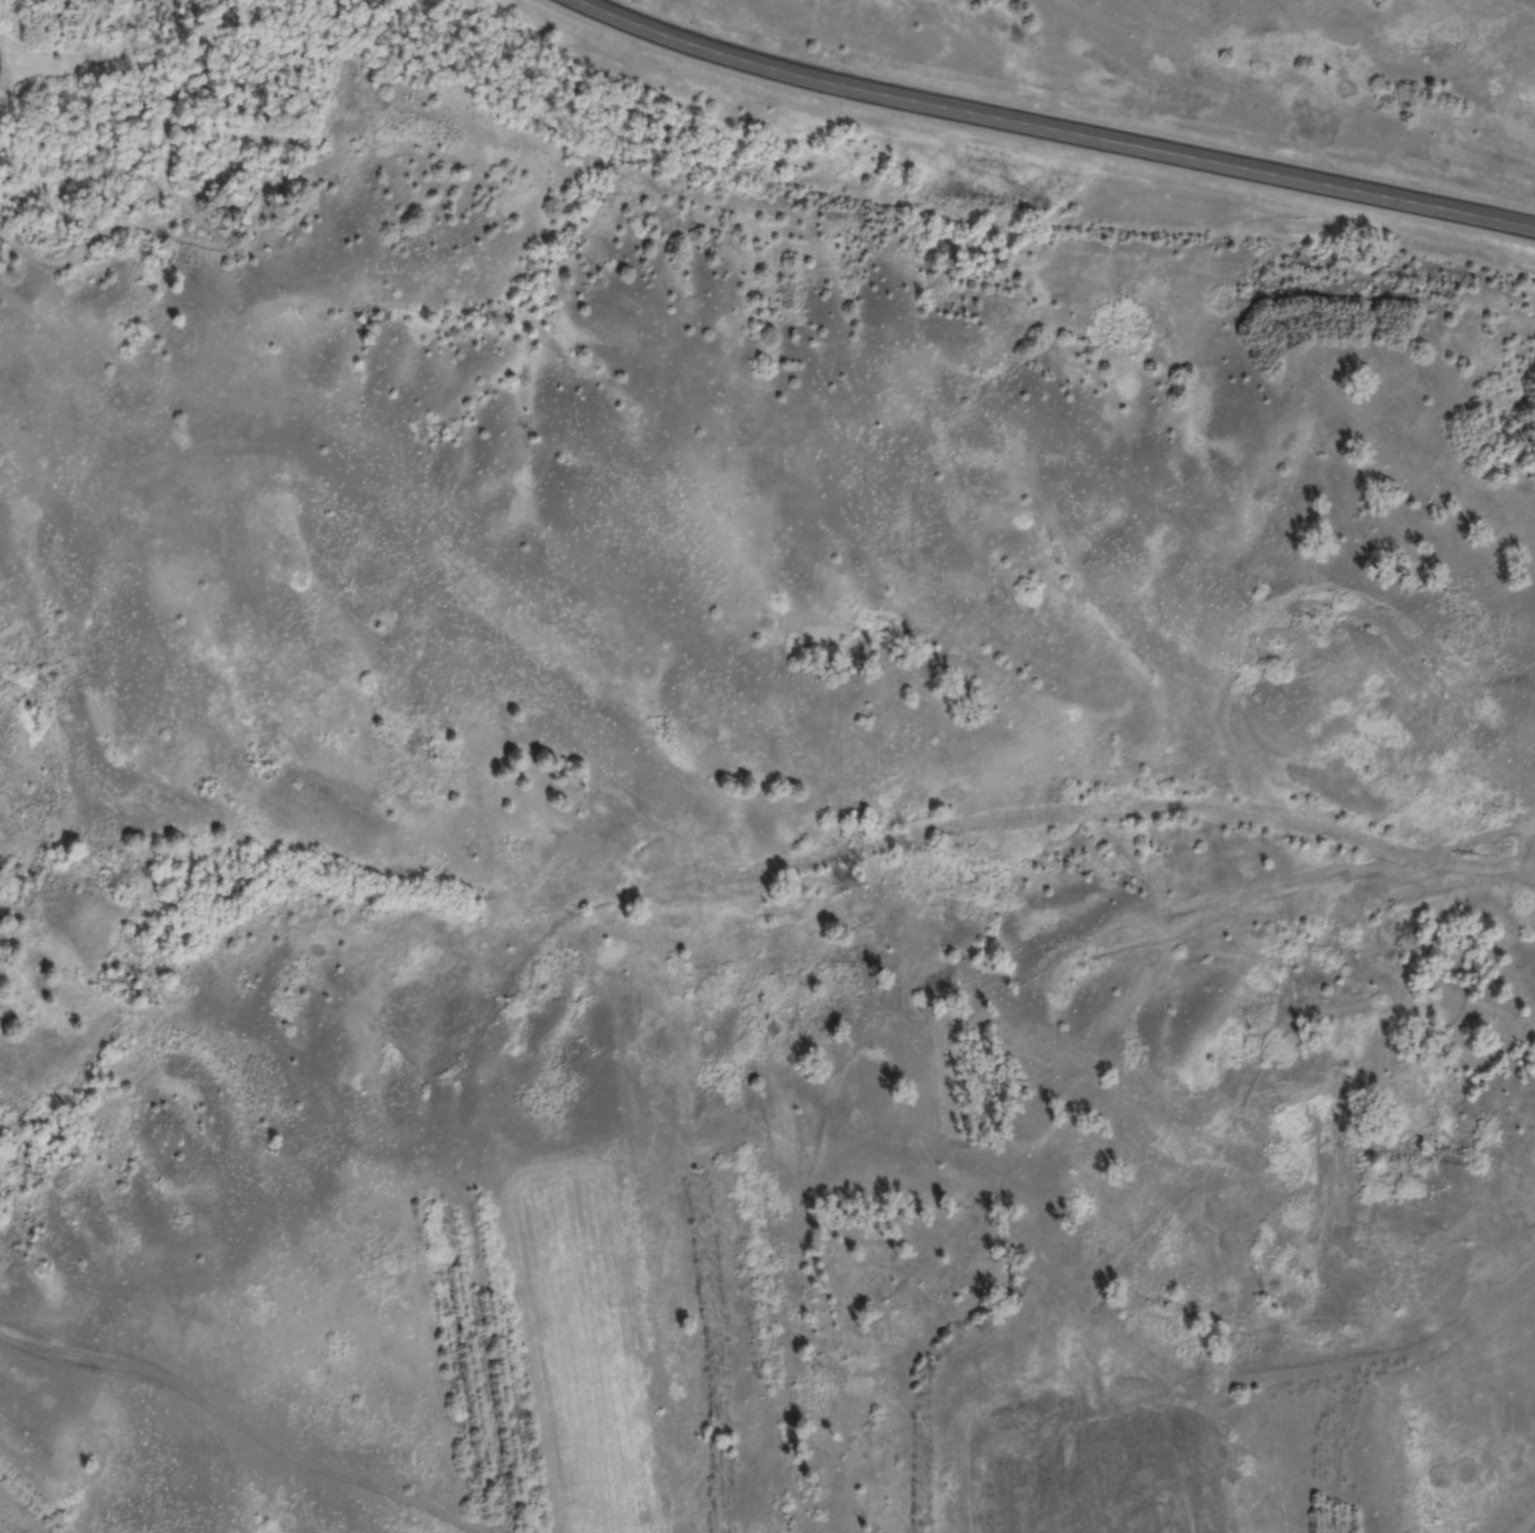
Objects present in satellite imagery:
road: (1054, 126)
road: (1145, 806)
park: (1526, 823)
road: (252, 1427)
road: (1526, 1518)

